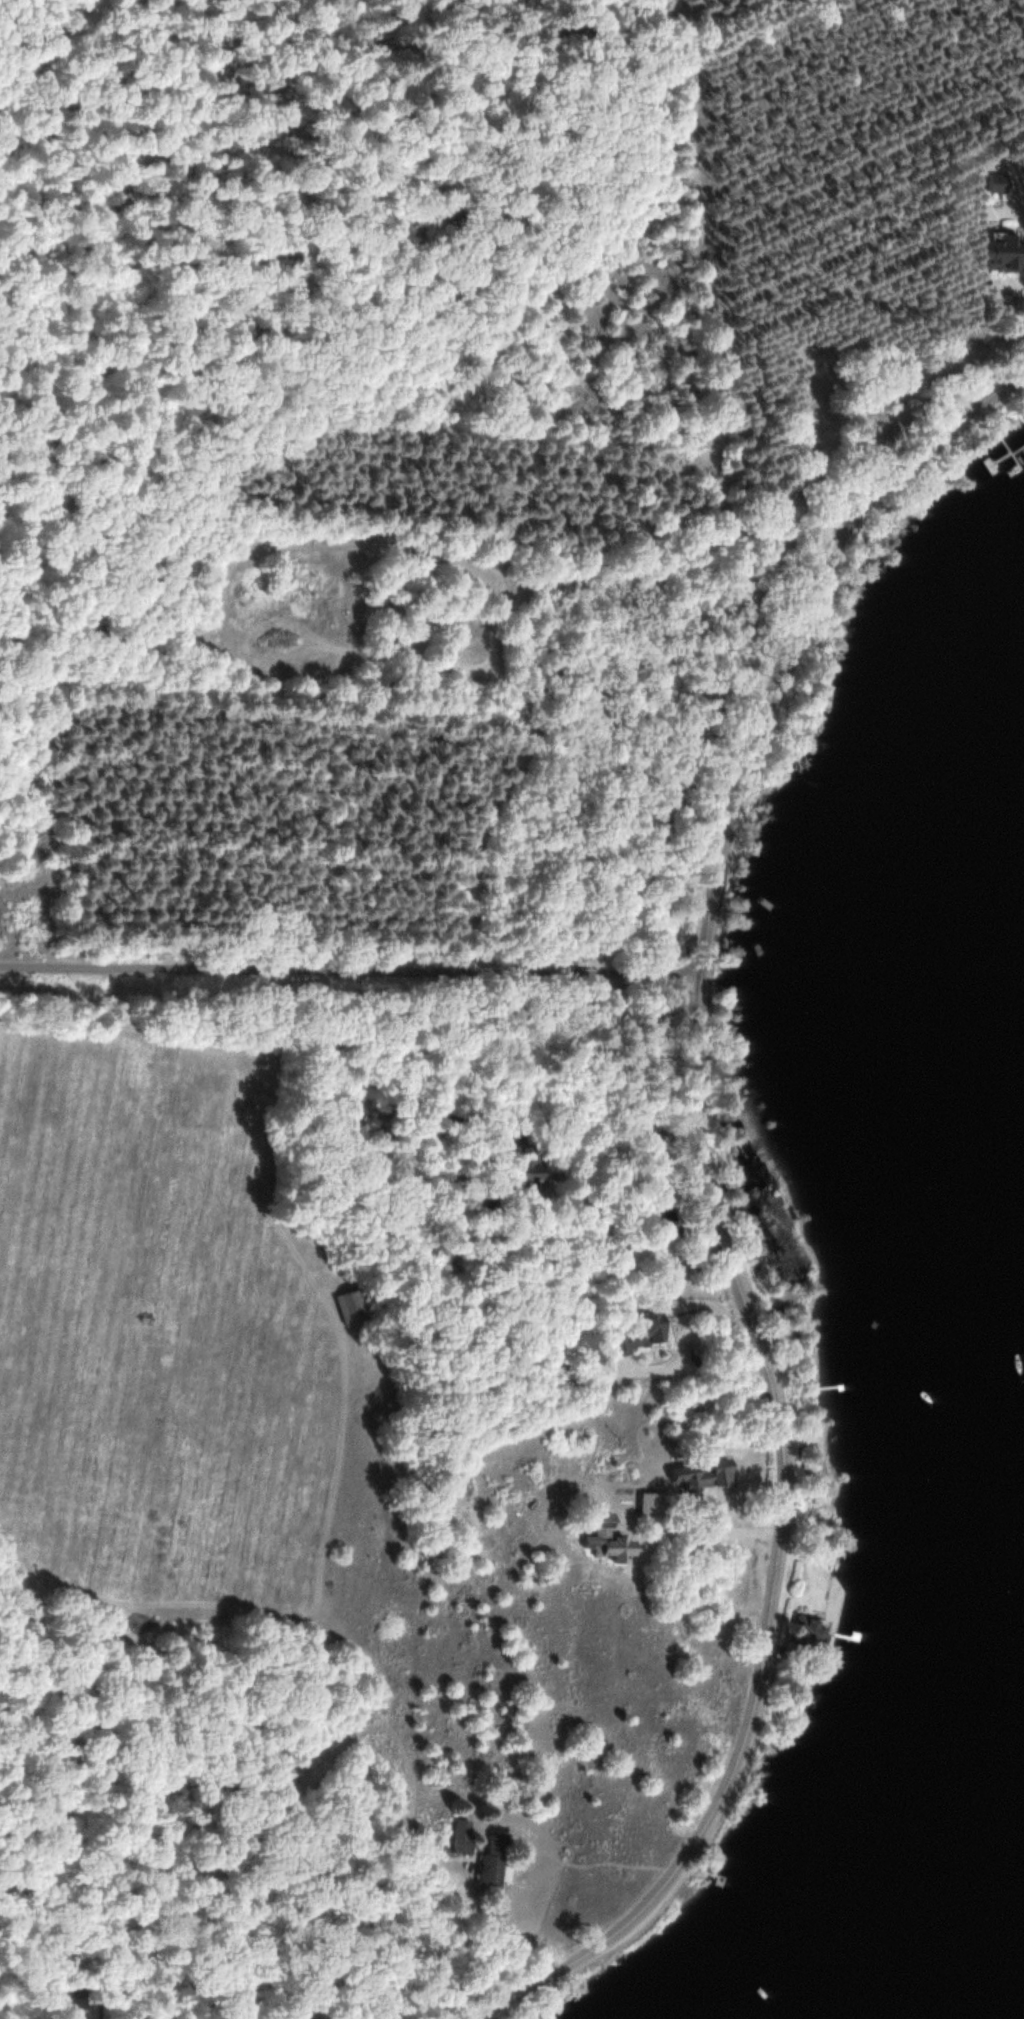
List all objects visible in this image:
road: (41, 39)
building: (997, 183)
building: (1004, 250)
park: (845, 426)
road: (352, 973)
building: (527, 1171)
road: (721, 1215)
building: (353, 1304)
building: (643, 1331)
building: (703, 1474)
building: (611, 1538)
building: (810, 1631)
building: (372, 1801)
building: (462, 1842)
building: (495, 1858)

